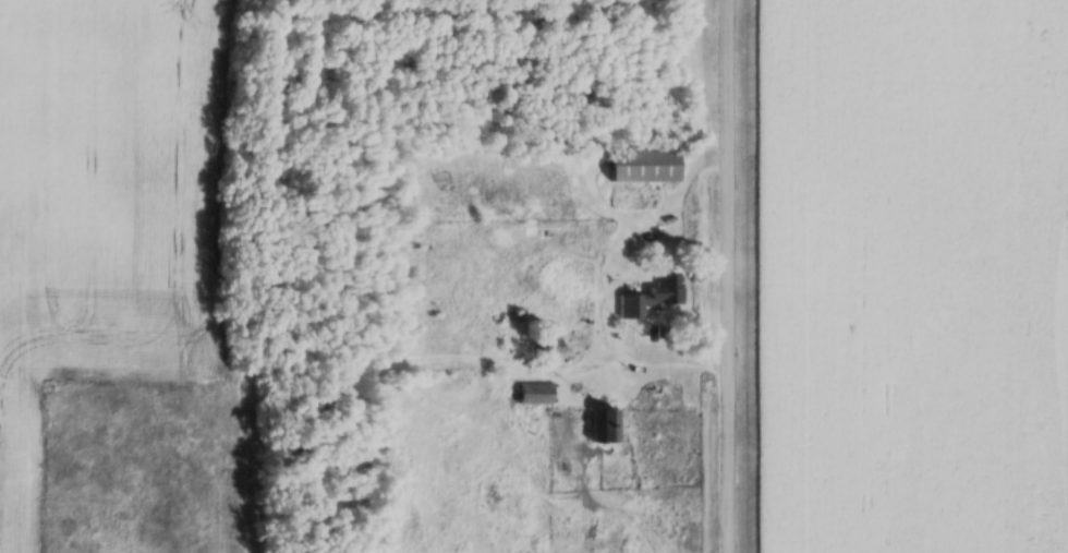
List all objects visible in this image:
building: (647, 169)
road: (729, 276)
road: (603, 277)
building: (652, 298)
building: (536, 397)
building: (604, 429)

